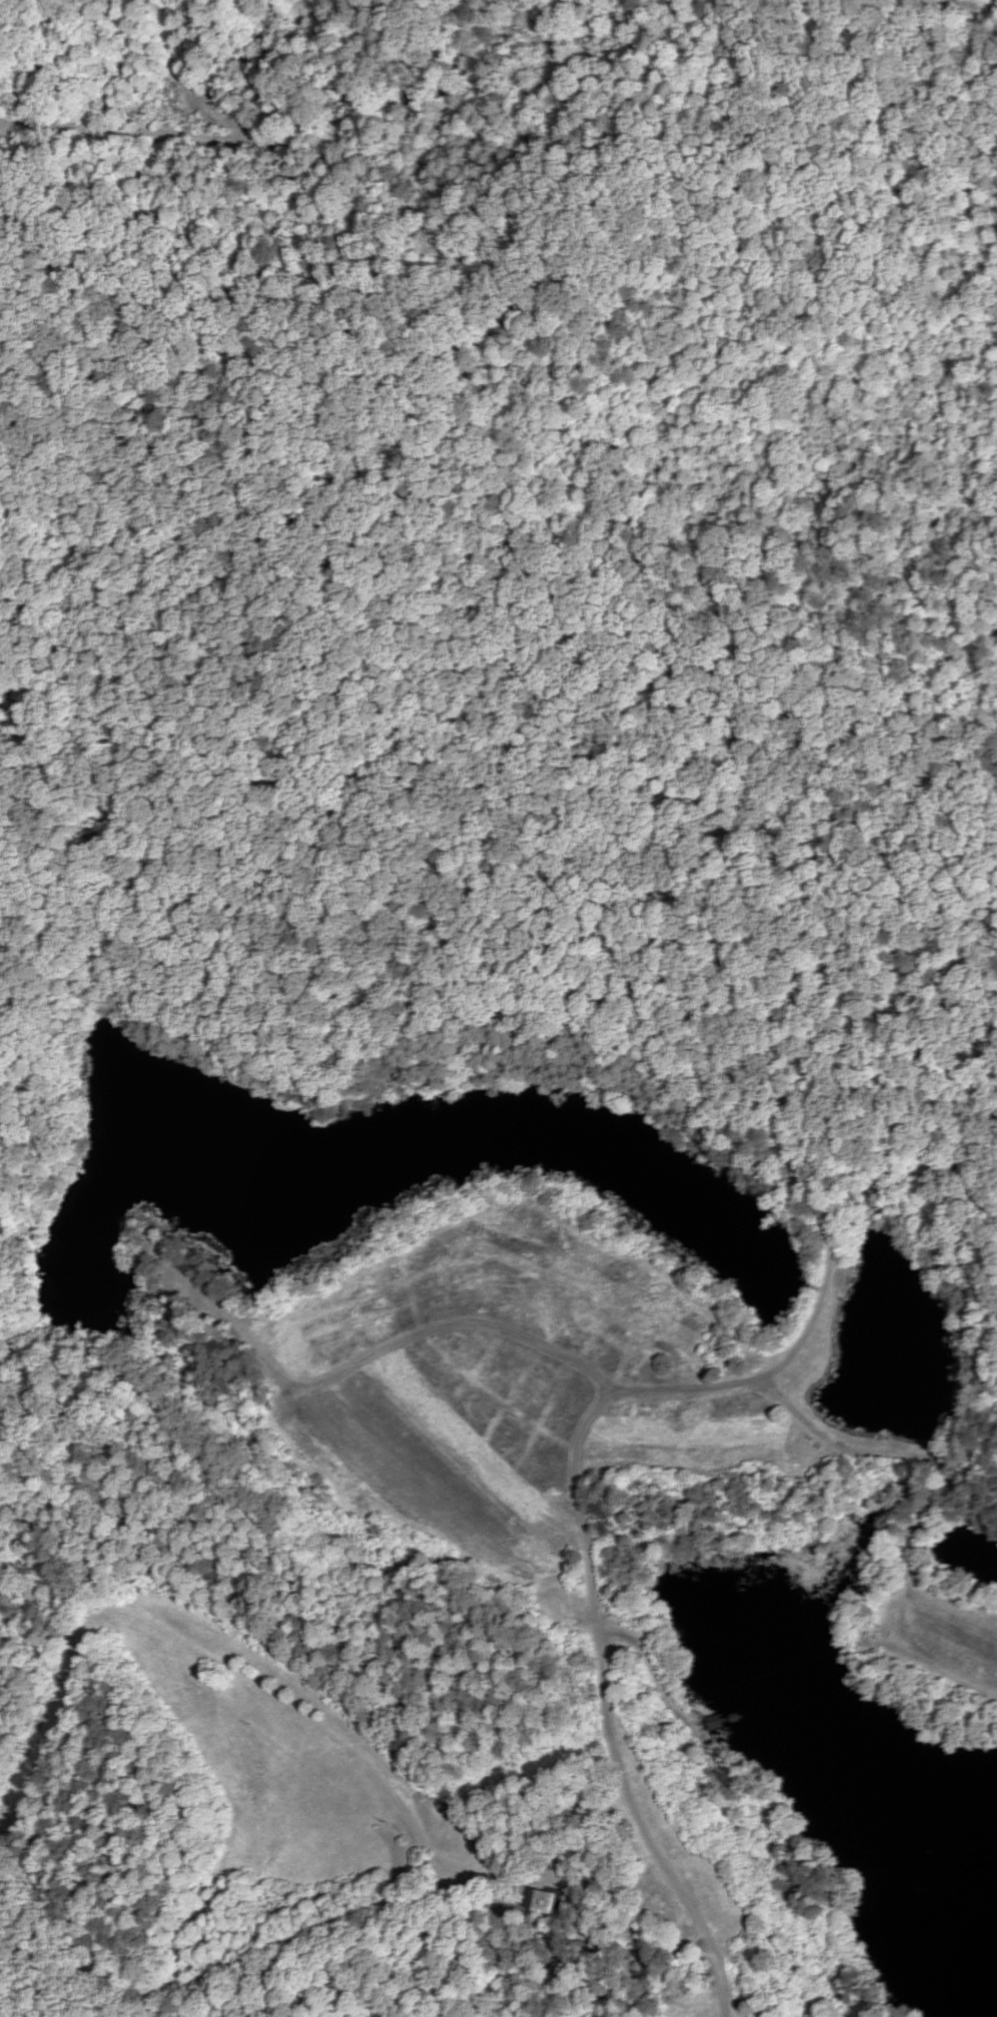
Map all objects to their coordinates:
road: (810, 878)
road: (397, 1331)
road: (653, 1675)
road: (611, 1710)
building: (545, 1904)
road: (609, 1951)

